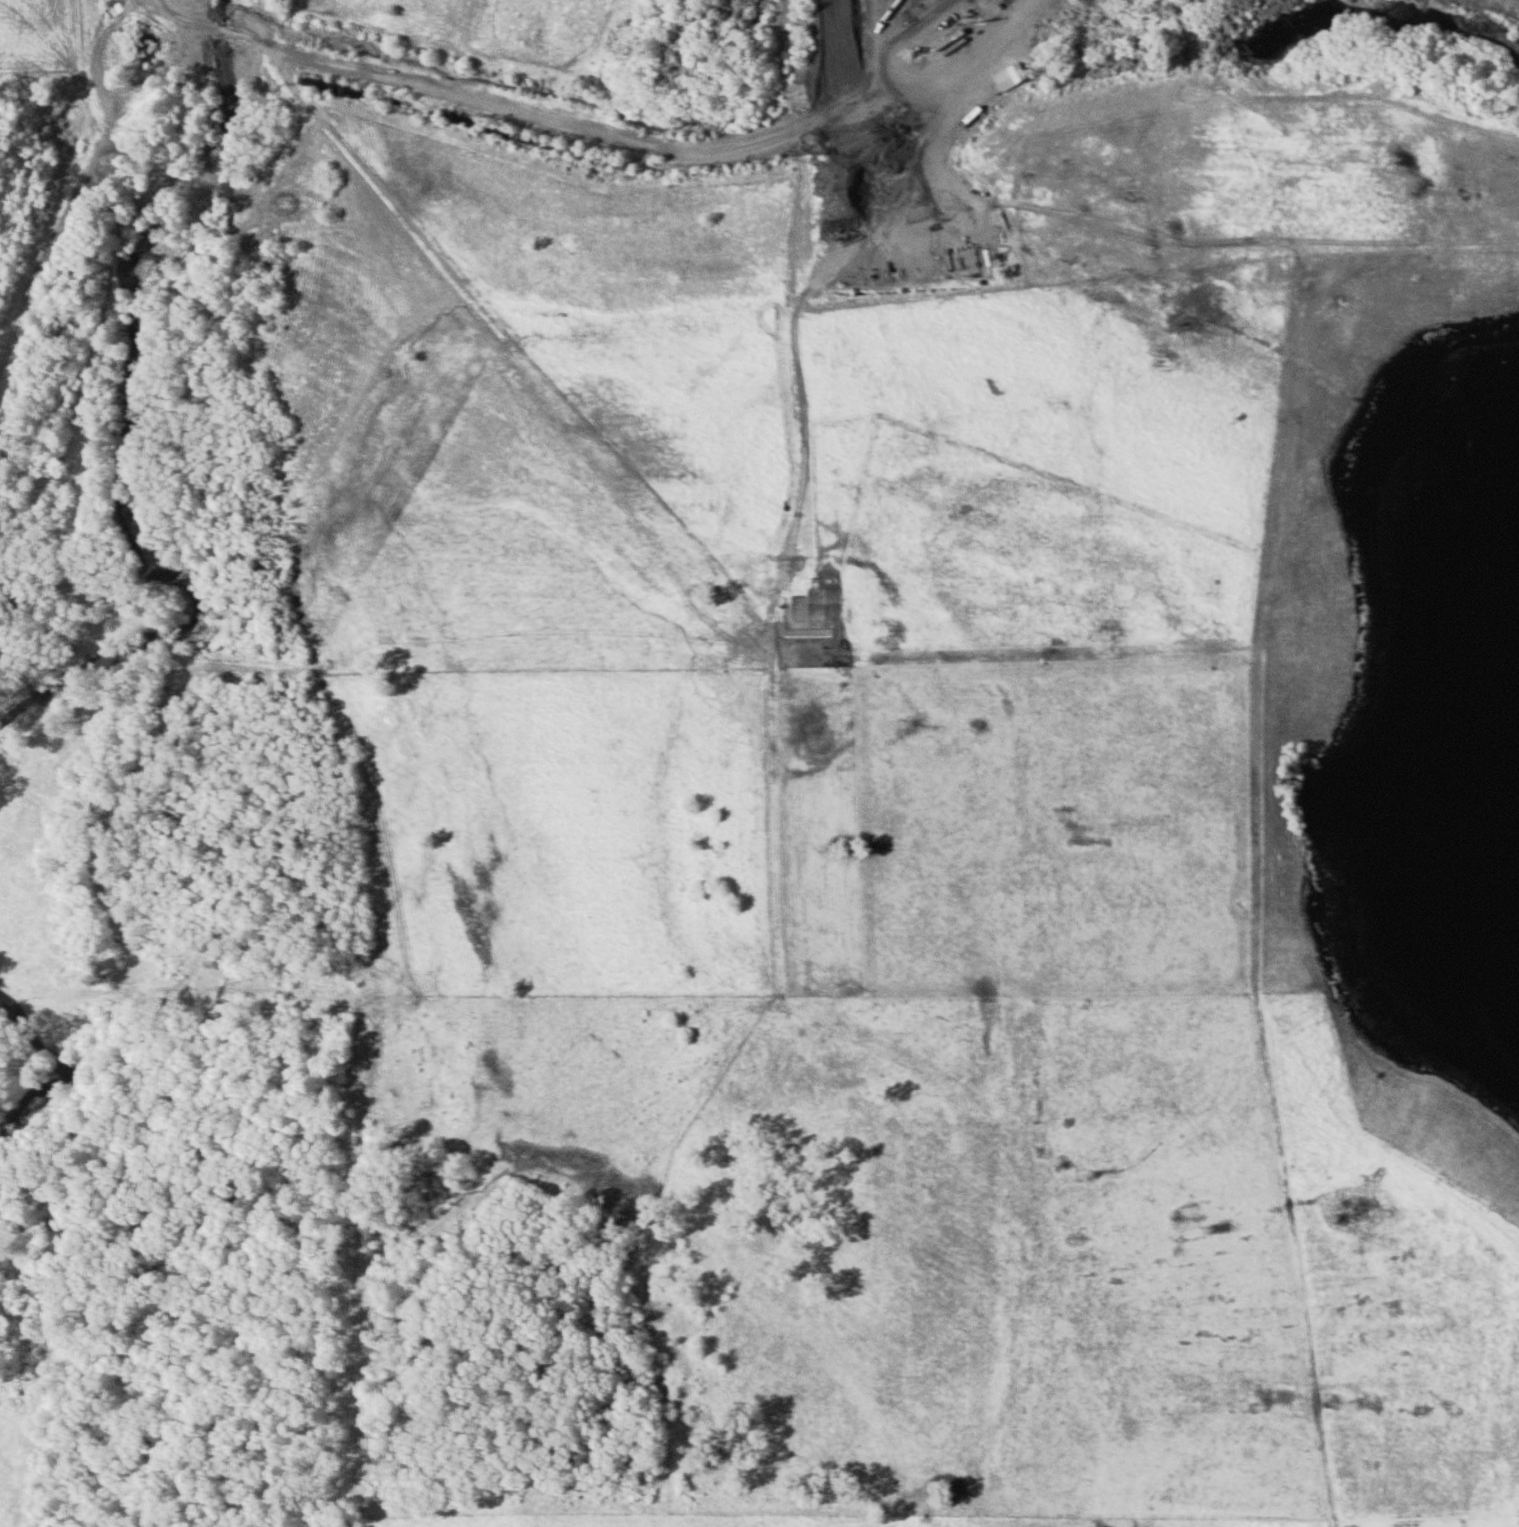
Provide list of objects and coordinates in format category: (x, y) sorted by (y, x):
building: (1012, 78)
road: (602, 138)
road: (1445, 1010)

